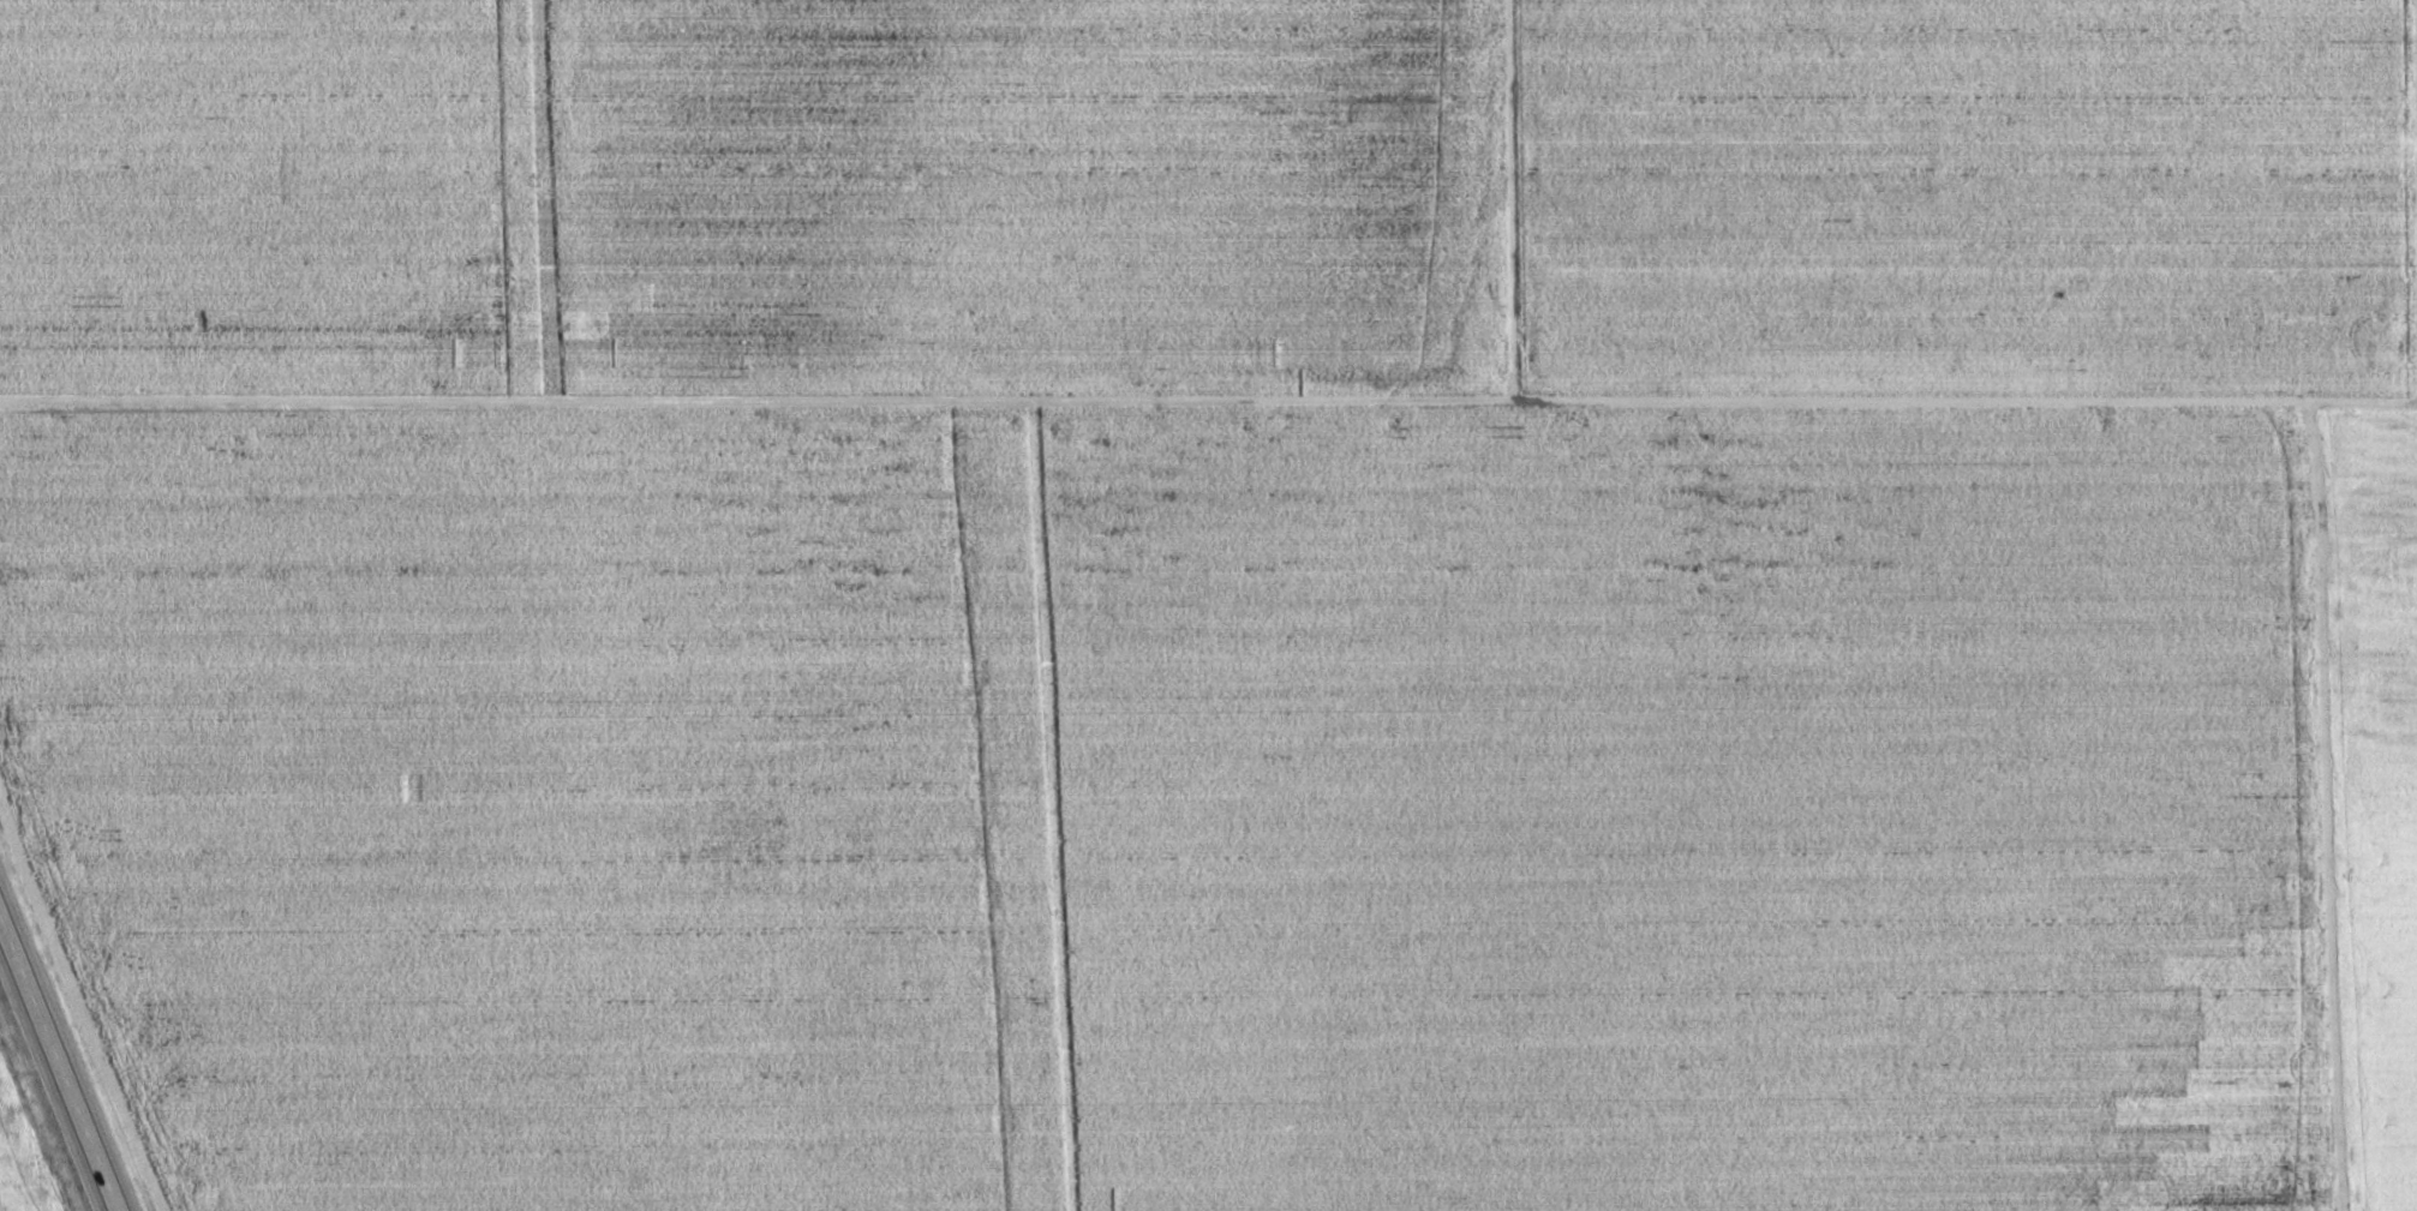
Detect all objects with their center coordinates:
road: (1208, 402)
road: (58, 1067)

